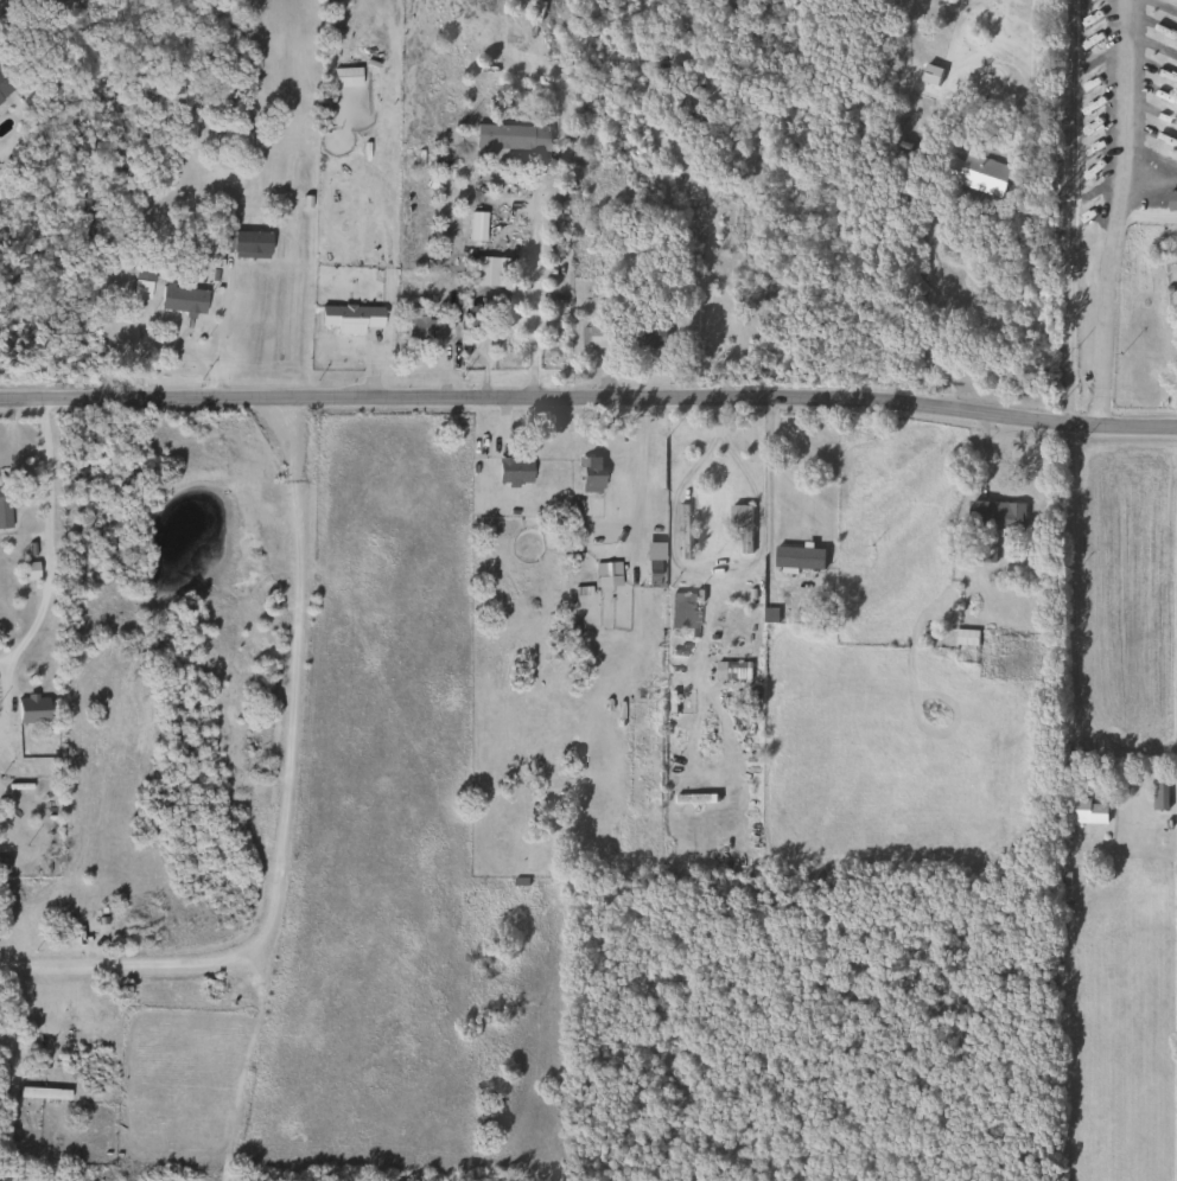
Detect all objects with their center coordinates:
building: (928, 75)
road: (1118, 88)
building: (4, 89)
building: (342, 102)
building: (509, 138)
building: (979, 174)
road: (1146, 174)
road: (707, 196)
road: (1071, 204)
building: (475, 226)
building: (247, 243)
building: (485, 273)
road: (535, 281)
road: (1103, 294)
road: (935, 296)
building: (177, 299)
building: (345, 318)
road: (220, 327)
building: (415, 327)
building: (600, 336)
building: (647, 336)
road: (588, 391)
building: (511, 472)
building: (588, 474)
road: (641, 477)
road: (769, 484)
building: (5, 504)
road: (673, 512)
building: (993, 516)
road: (38, 529)
building: (744, 530)
building: (682, 534)
building: (797, 558)
road: (744, 564)
building: (23, 573)
building: (605, 575)
road: (1070, 576)
building: (679, 612)
building: (27, 709)
building: (1159, 789)
road: (280, 797)
building: (1082, 811)

